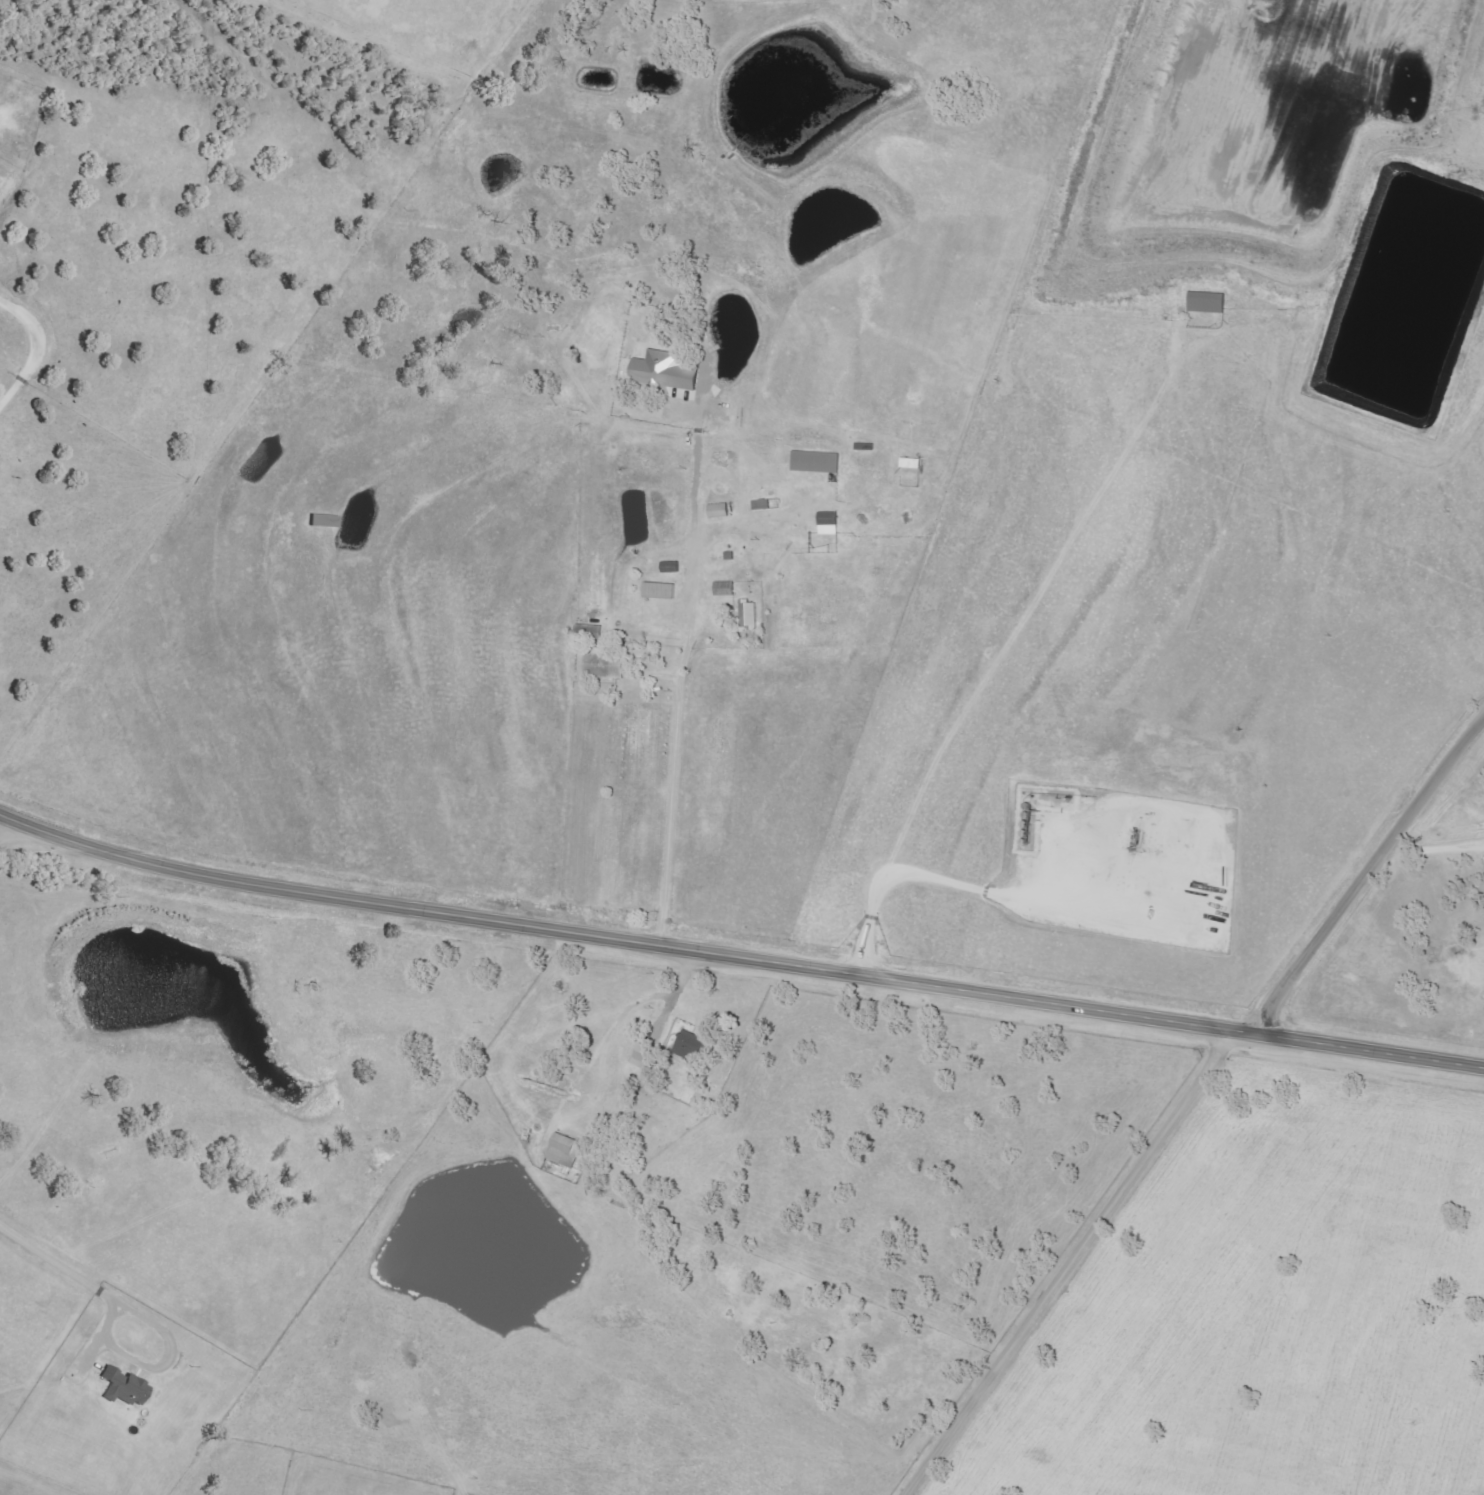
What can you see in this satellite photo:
building: (1205, 303)
building: (668, 372)
building: (819, 462)
building: (914, 463)
building: (763, 505)
building: (722, 511)
building: (831, 522)
building: (673, 570)
building: (727, 589)
building: (664, 591)
building: (751, 615)
building: (609, 667)
road: (672, 779)
road: (9, 827)
road: (1366, 870)
building: (1483, 873)
road: (737, 956)
building: (687, 1045)
building: (641, 1056)
building: (563, 1150)
road: (1070, 1260)
road: (58, 1264)
road: (155, 1366)
building: (127, 1387)

